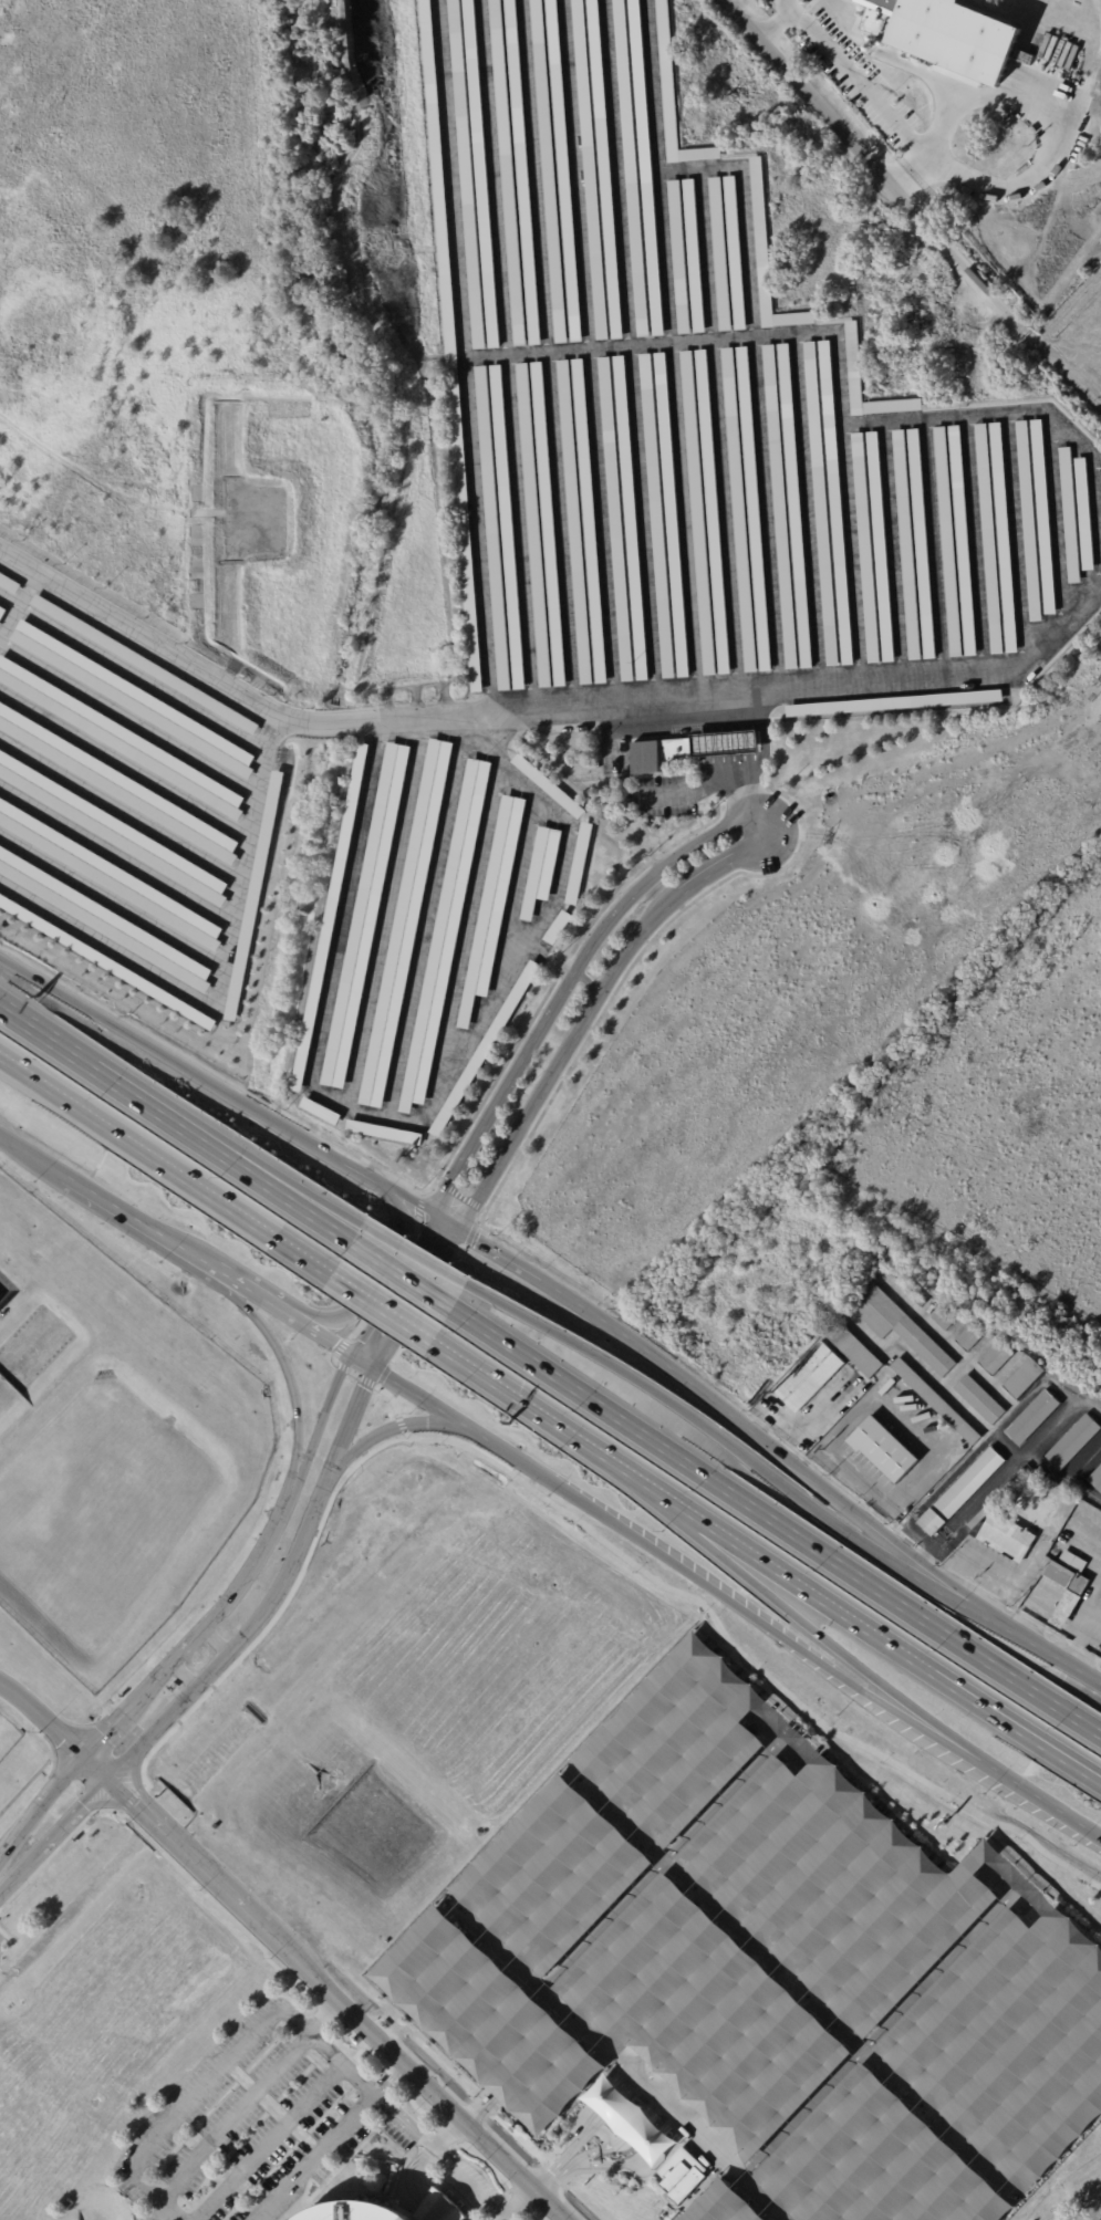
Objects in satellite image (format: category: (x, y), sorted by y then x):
road: (785, 2)
road: (772, 21)
building: (945, 32)
road: (859, 82)
building: (674, 96)
road: (1056, 128)
building: (645, 165)
road: (874, 167)
building: (631, 168)
building: (590, 169)
building: (604, 169)
building: (563, 170)
building: (522, 171)
building: (549, 171)
building: (508, 173)
building: (467, 174)
building: (481, 174)
road: (913, 174)
road: (497, 179)
road: (456, 180)
building: (735, 251)
building: (720, 254)
building: (694, 256)
building: (768, 256)
building: (679, 257)
building: (450, 345)
road: (1060, 355)
road: (490, 358)
building: (853, 359)
parking lot: (702, 432)
building: (796, 504)
building: (835, 504)
building: (754, 507)
building: (821, 508)
building: (780, 510)
building: (672, 513)
building: (698, 513)
building: (739, 513)
building: (657, 514)
building: (1070, 514)
building: (1086, 514)
building: (713, 515)
building: (616, 517)
building: (1043, 517)
building: (589, 521)
building: (631, 521)
building: (1030, 521)
building: (574, 523)
building: (549, 525)
building: (533, 529)
building: (507, 531)
building: (492, 532)
building: (1004, 536)
building: (989, 540)
building: (963, 542)
building: (948, 543)
building: (922, 545)
building: (866, 546)
building: (907, 549)
building: (881, 550)
building: (8, 583)
building: (2, 612)
road: (136, 632)
building: (144, 664)
building: (134, 697)
building: (891, 705)
road: (381, 716)
road: (492, 737)
building: (120, 738)
road: (727, 742)
building: (648, 757)
building: (117, 784)
building: (548, 788)
road: (746, 791)
road: (803, 823)
building: (112, 830)
road: (811, 834)
building: (579, 866)
building: (541, 872)
building: (108, 876)
building: (253, 895)
building: (494, 906)
building: (104, 919)
building: (365, 919)
building: (329, 921)
building: (405, 925)
building: (557, 926)
building: (446, 936)
building: (106, 962)
road: (224, 977)
road: (586, 982)
road: (564, 986)
road: (589, 1012)
road: (45, 1035)
building: (481, 1048)
road: (160, 1055)
road: (217, 1077)
road: (160, 1112)
building: (320, 1113)
building: (384, 1135)
road: (33, 1155)
road: (164, 1168)
road: (354, 1168)
road: (295, 1189)
road: (422, 1192)
road: (290, 1197)
road: (408, 1200)
road: (419, 1207)
road: (482, 1218)
road: (139, 1221)
road: (470, 1232)
road: (412, 1254)
road: (402, 1271)
road: (373, 1273)
road: (383, 1281)
road: (389, 1283)
building: (914, 1294)
road: (257, 1295)
road: (414, 1299)
road: (424, 1302)
road: (380, 1311)
road: (595, 1315)
building: (944, 1319)
building: (900, 1327)
building: (970, 1337)
road: (325, 1338)
road: (340, 1347)
building: (853, 1348)
building: (997, 1357)
road: (333, 1361)
road: (362, 1362)
road: (342, 1366)
road: (284, 1367)
road: (352, 1374)
road: (383, 1374)
building: (809, 1377)
building: (1025, 1378)
road: (365, 1380)
road: (377, 1385)
building: (1074, 1387)
road: (389, 1397)
road: (897, 1398)
building: (980, 1400)
building: (936, 1401)
road: (429, 1404)
road: (1020, 1408)
road: (695, 1418)
building: (1032, 1418)
road: (1061, 1418)
road: (322, 1422)
road: (347, 1425)
road: (401, 1425)
road: (551, 1425)
road: (383, 1430)
building: (1073, 1442)
building: (884, 1450)
road: (532, 1469)
road: (1062, 1474)
building: (1097, 1480)
building: (962, 1492)
building: (997, 1500)
road: (970, 1509)
road: (776, 1518)
road: (868, 1521)
building: (1006, 1538)
road: (250, 1561)
road: (956, 1566)
building: (1066, 1577)
road: (998, 1582)
road: (800, 1590)
road: (944, 1595)
road: (280, 1609)
building: (1066, 1611)
road: (249, 1626)
road: (1082, 1628)
road: (783, 1638)
road: (216, 1640)
road: (829, 1644)
road: (1040, 1649)
road: (748, 1661)
road: (170, 1664)
road: (184, 1675)
road: (43, 1718)
road: (111, 1728)
road: (1014, 1730)
road: (42, 1734)
road: (124, 1762)
road: (97, 1766)
road: (134, 1776)
road: (125, 1791)
road: (95, 1792)
road: (132, 1797)
road: (112, 1803)
road: (1048, 1804)
road: (41, 1805)
road: (145, 1810)
road: (128, 1816)
road: (156, 1821)
road: (143, 1834)
road: (41, 1847)
road: (55, 1848)
airport: (453, 1854)
road: (233, 1919)
road: (1, 1941)
parking lot: (761, 1974)
road: (325, 2013)
road: (287, 2016)
road: (324, 2018)
road: (362, 2022)
road: (364, 2044)
road: (396, 2077)
road: (392, 2083)
road: (414, 2106)
building: (629, 2119)
road: (227, 2123)
parking lot: (256, 2125)
road: (448, 2128)
road: (270, 2144)
road: (426, 2156)
road: (316, 2159)
road: (487, 2162)
building: (681, 2174)
parking lot: (469, 2185)
road: (521, 2200)
road: (519, 2206)
building: (436, 2208)
road: (435, 2209)
building: (352, 2212)
road: (537, 2216)

